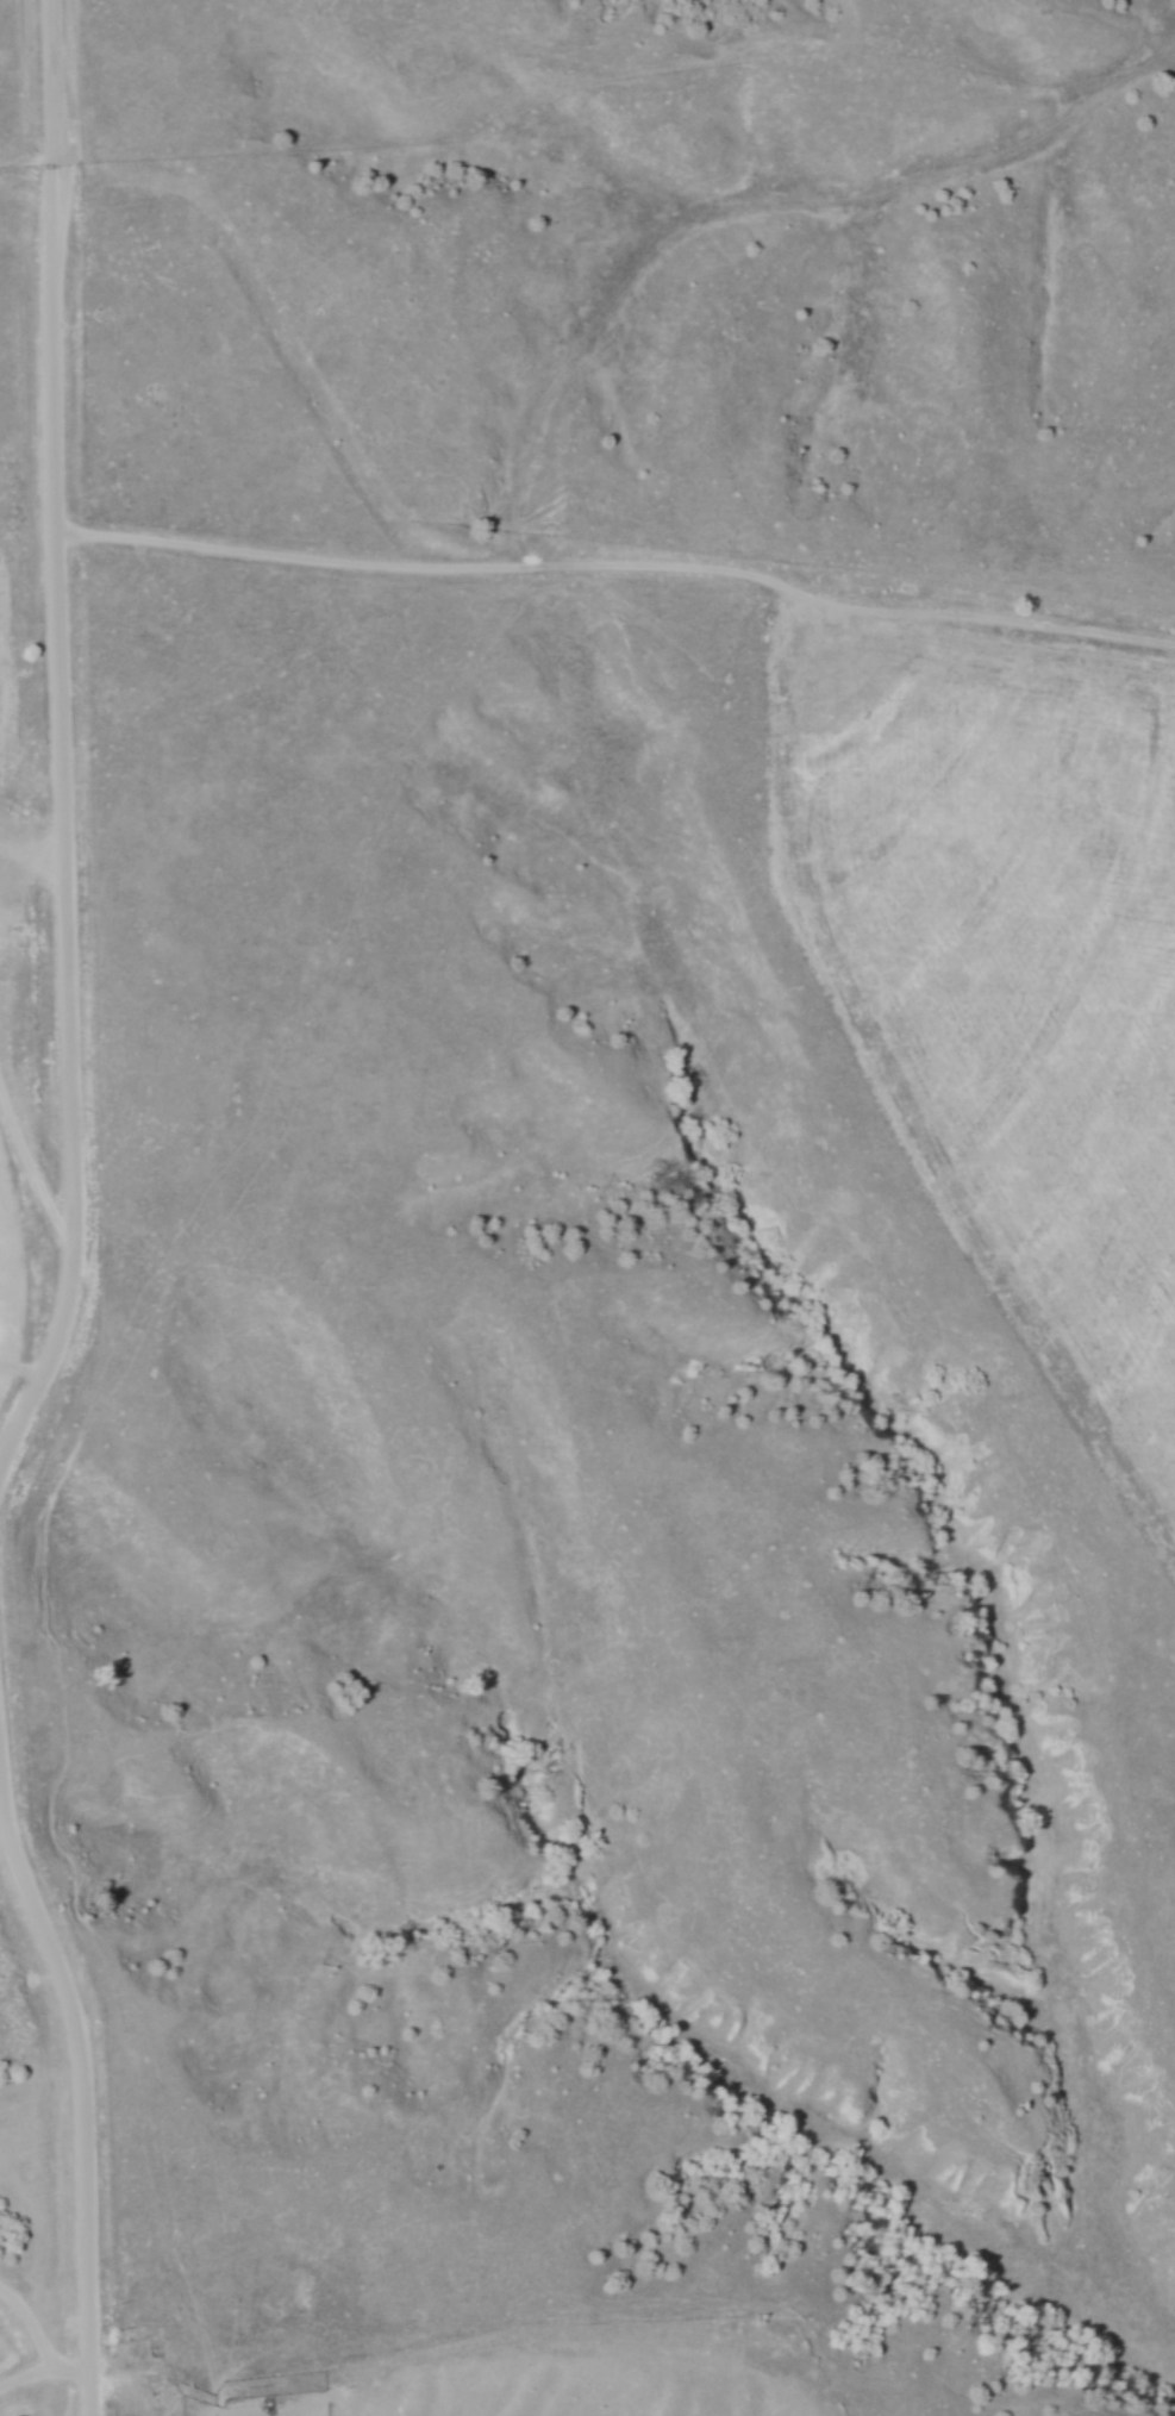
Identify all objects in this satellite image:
road: (618, 566)
road: (60, 742)
road: (81, 2052)
road: (42, 2364)

